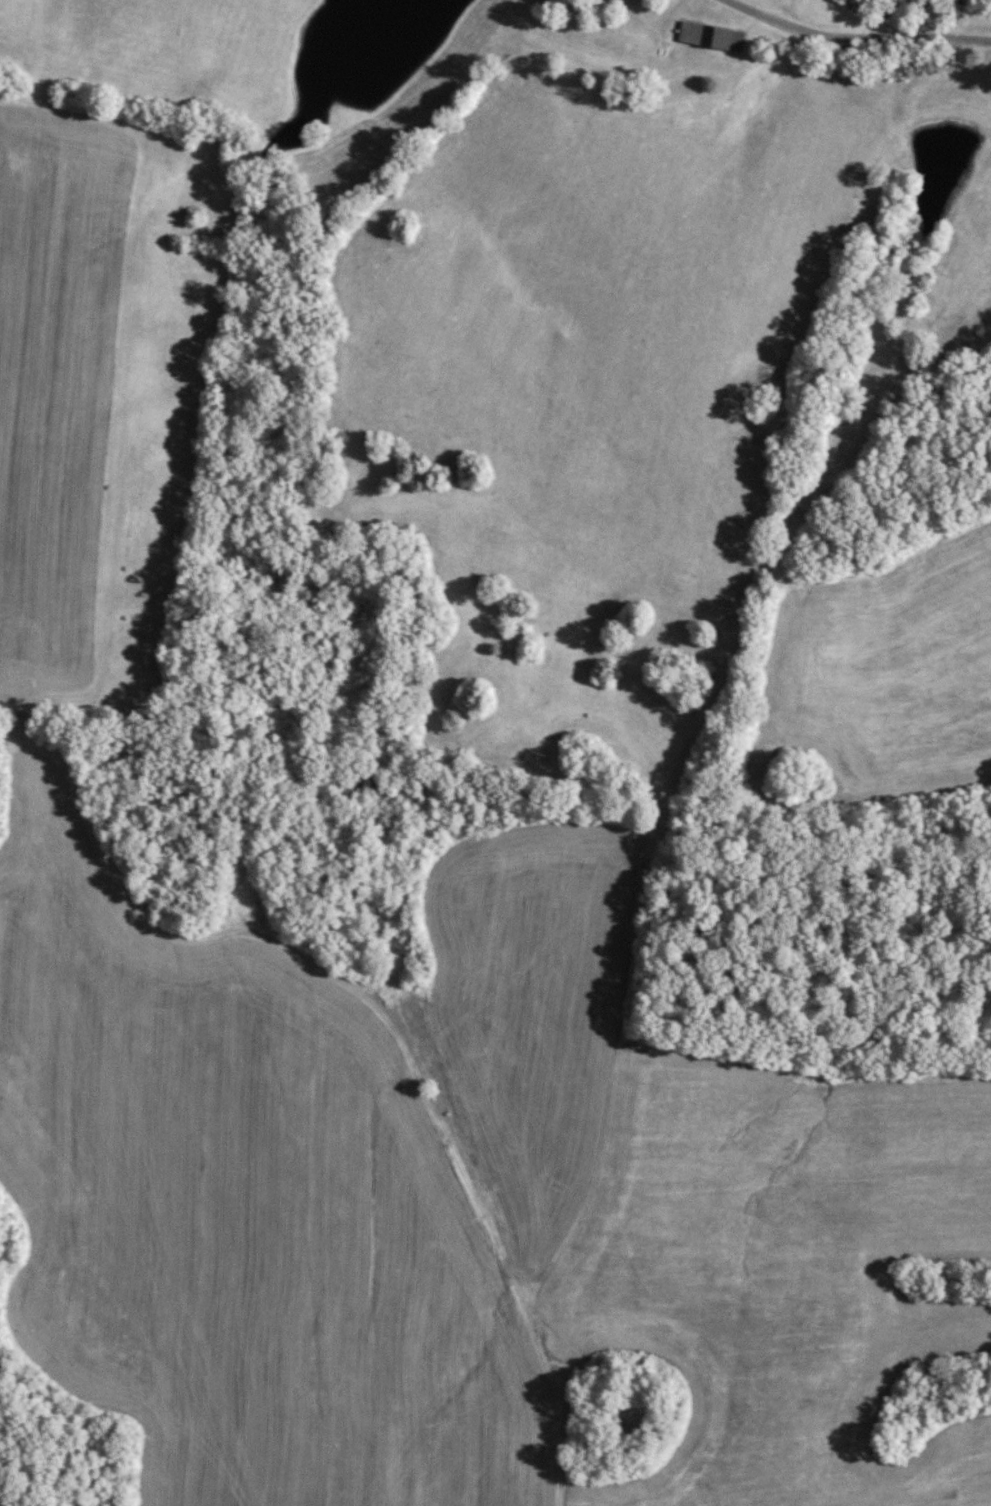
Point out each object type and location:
building: (712, 36)
road: (855, 37)

